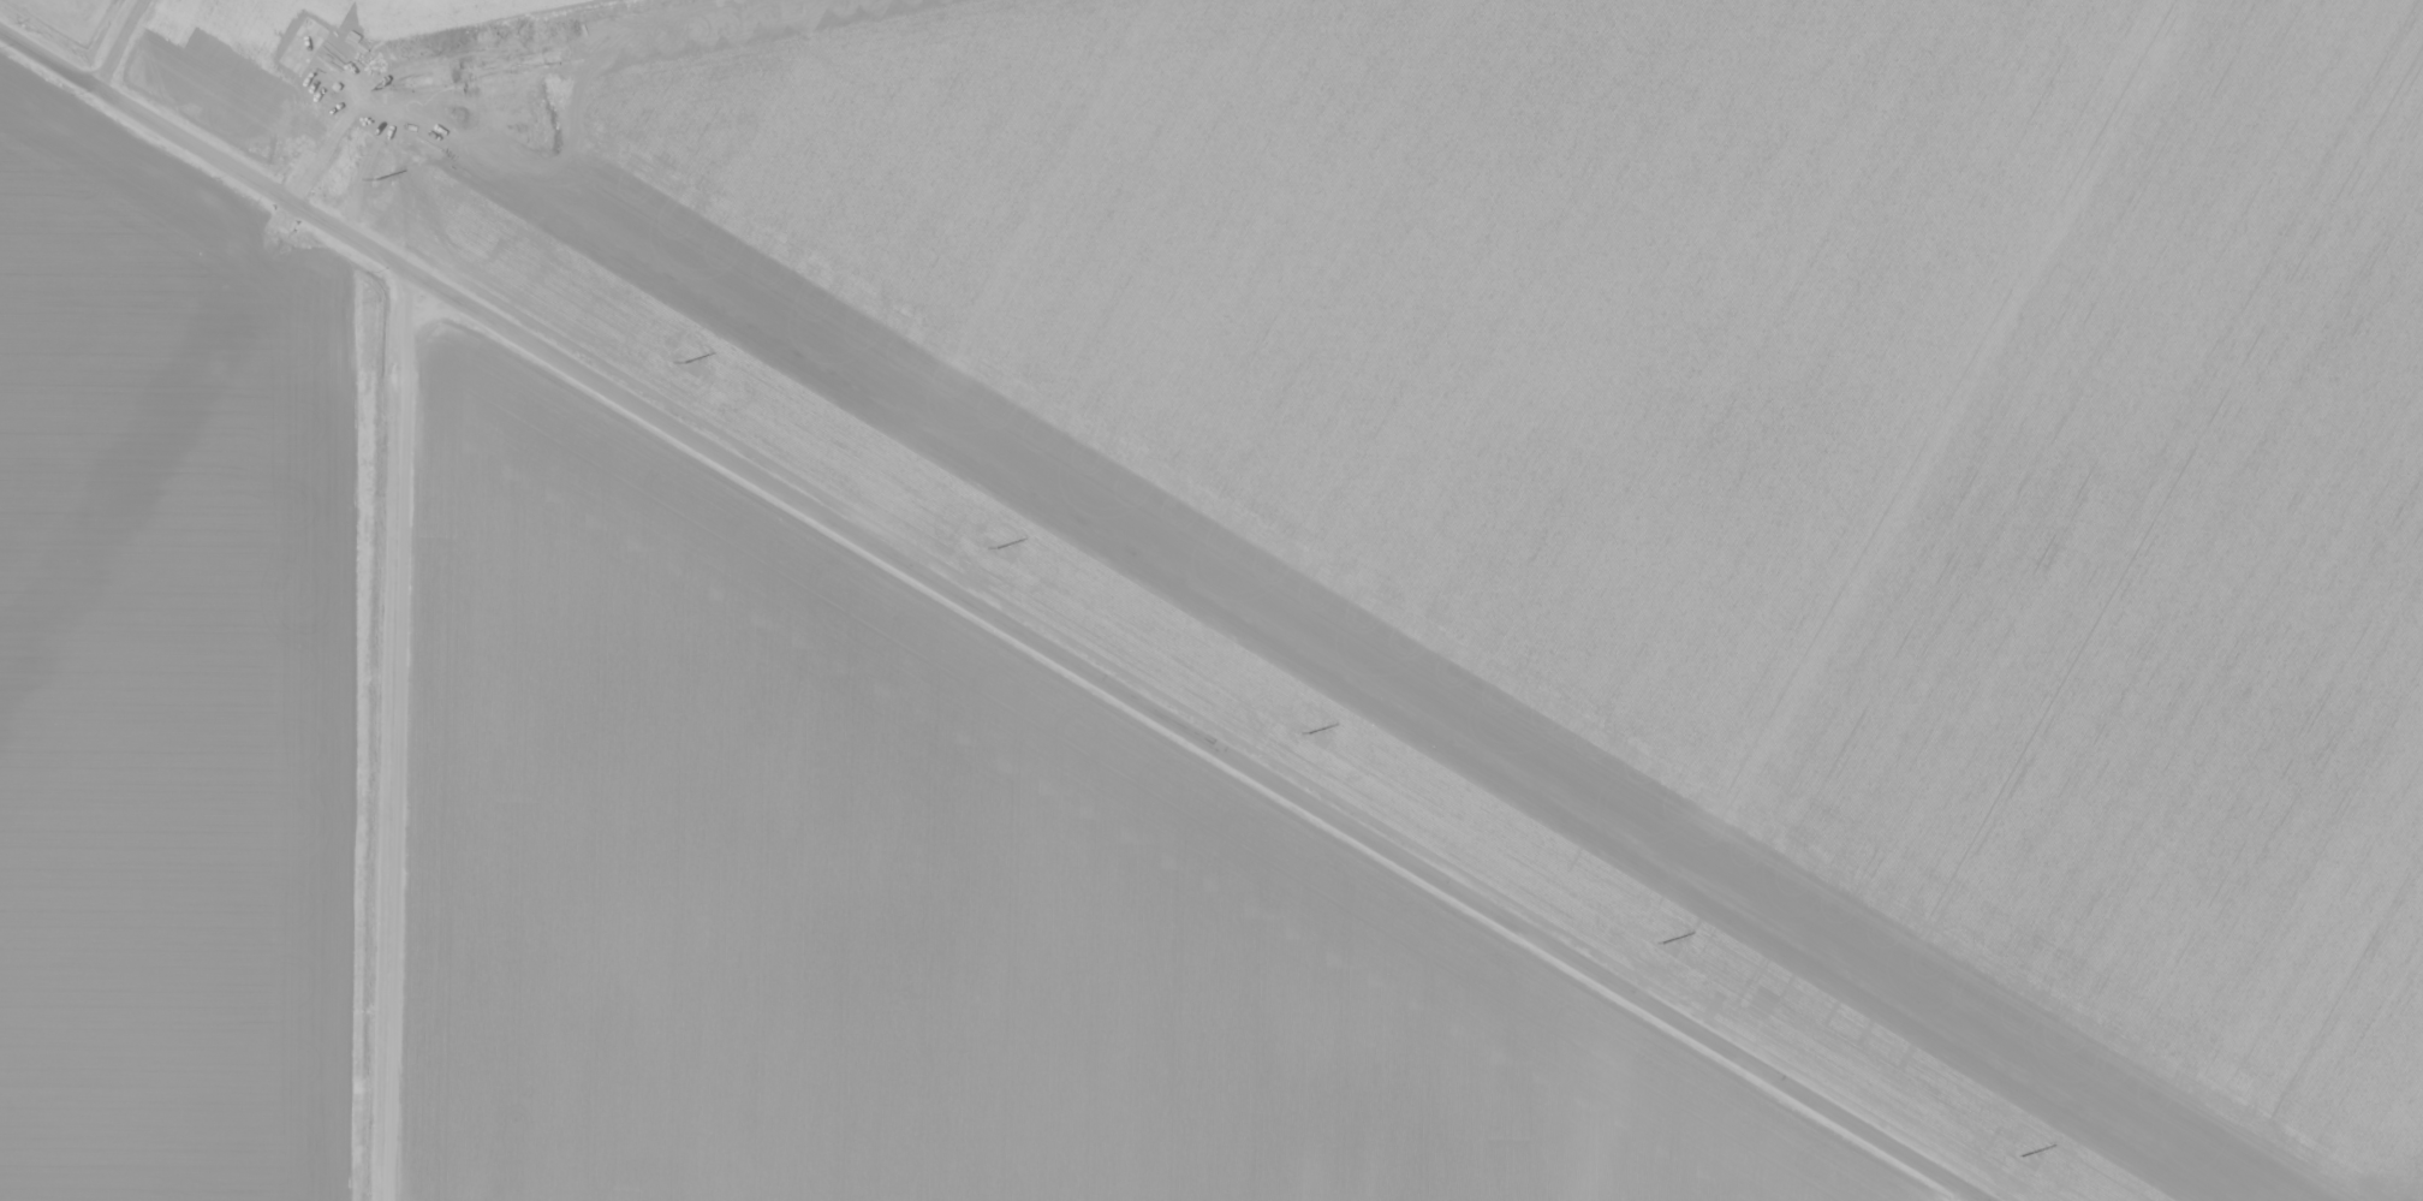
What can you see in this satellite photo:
road: (120, 44)
power tower: (375, 182)
power tower: (685, 364)
power tower: (995, 549)
road: (986, 618)
road: (387, 732)
power tower: (1308, 735)
power tower: (1662, 945)
power tower: (2022, 1158)

